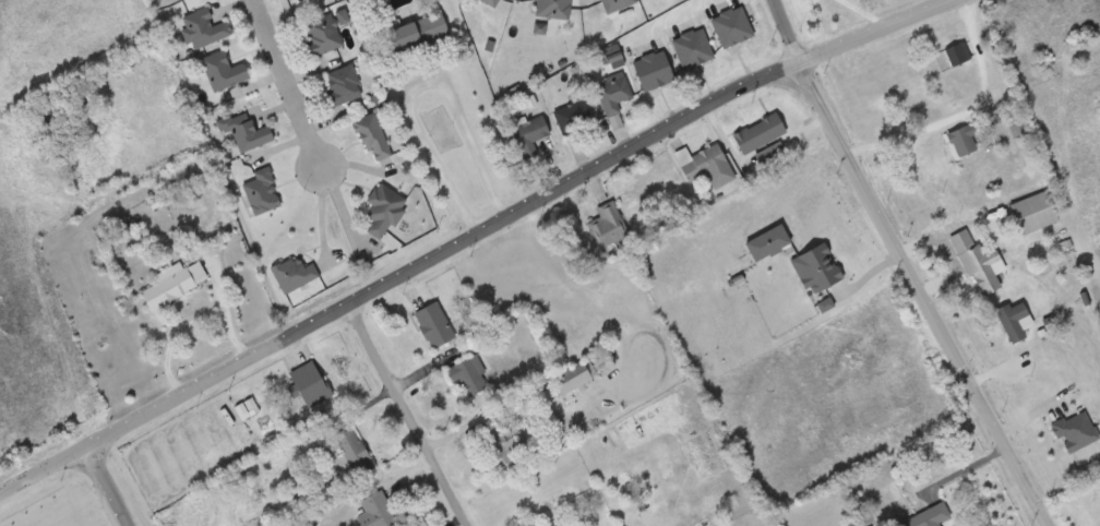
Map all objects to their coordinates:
building: (491, 2)
building: (615, 4)
building: (553, 8)
building: (732, 26)
building: (204, 28)
building: (419, 33)
building: (323, 36)
building: (693, 48)
building: (958, 52)
building: (224, 70)
building: (653, 70)
road: (286, 83)
building: (343, 85)
building: (614, 96)
building: (574, 117)
building: (1017, 124)
building: (246, 130)
building: (758, 133)
building: (529, 134)
building: (372, 135)
building: (965, 138)
building: (706, 165)
building: (384, 208)
building: (1033, 213)
building: (608, 224)
road: (470, 236)
building: (976, 262)
road: (908, 265)
building: (175, 283)
building: (1014, 318)
building: (434, 325)
building: (469, 375)
building: (575, 376)
building: (311, 383)
building: (247, 408)
road: (405, 416)
building: (500, 450)
building: (354, 451)
road: (105, 487)
building: (1096, 499)
building: (378, 511)
building: (930, 516)
building: (555, 525)

